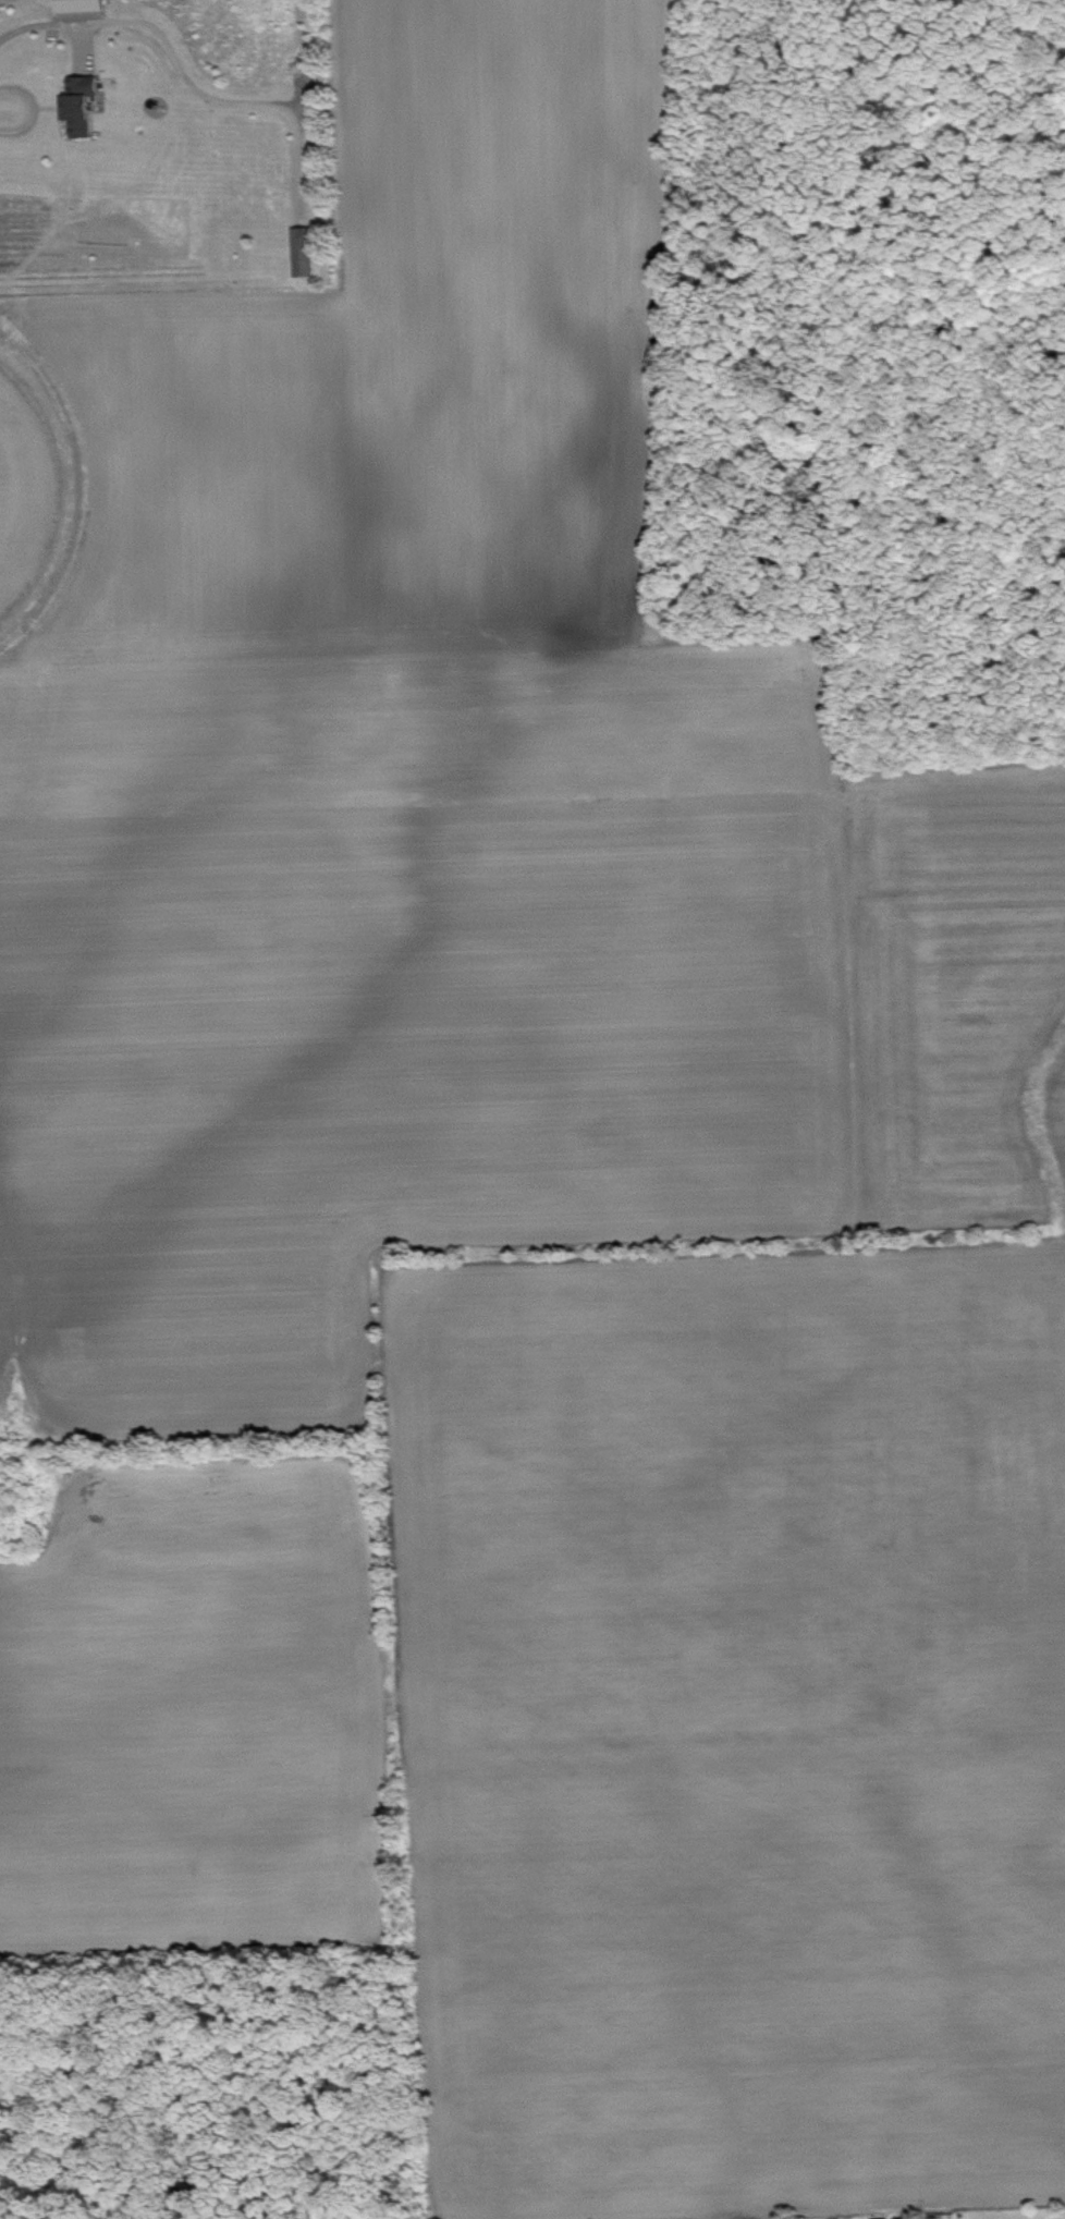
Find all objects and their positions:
building: (88, 5)
road: (183, 76)
building: (88, 106)
building: (310, 253)
building: (902, 2217)
building: (885, 2218)

